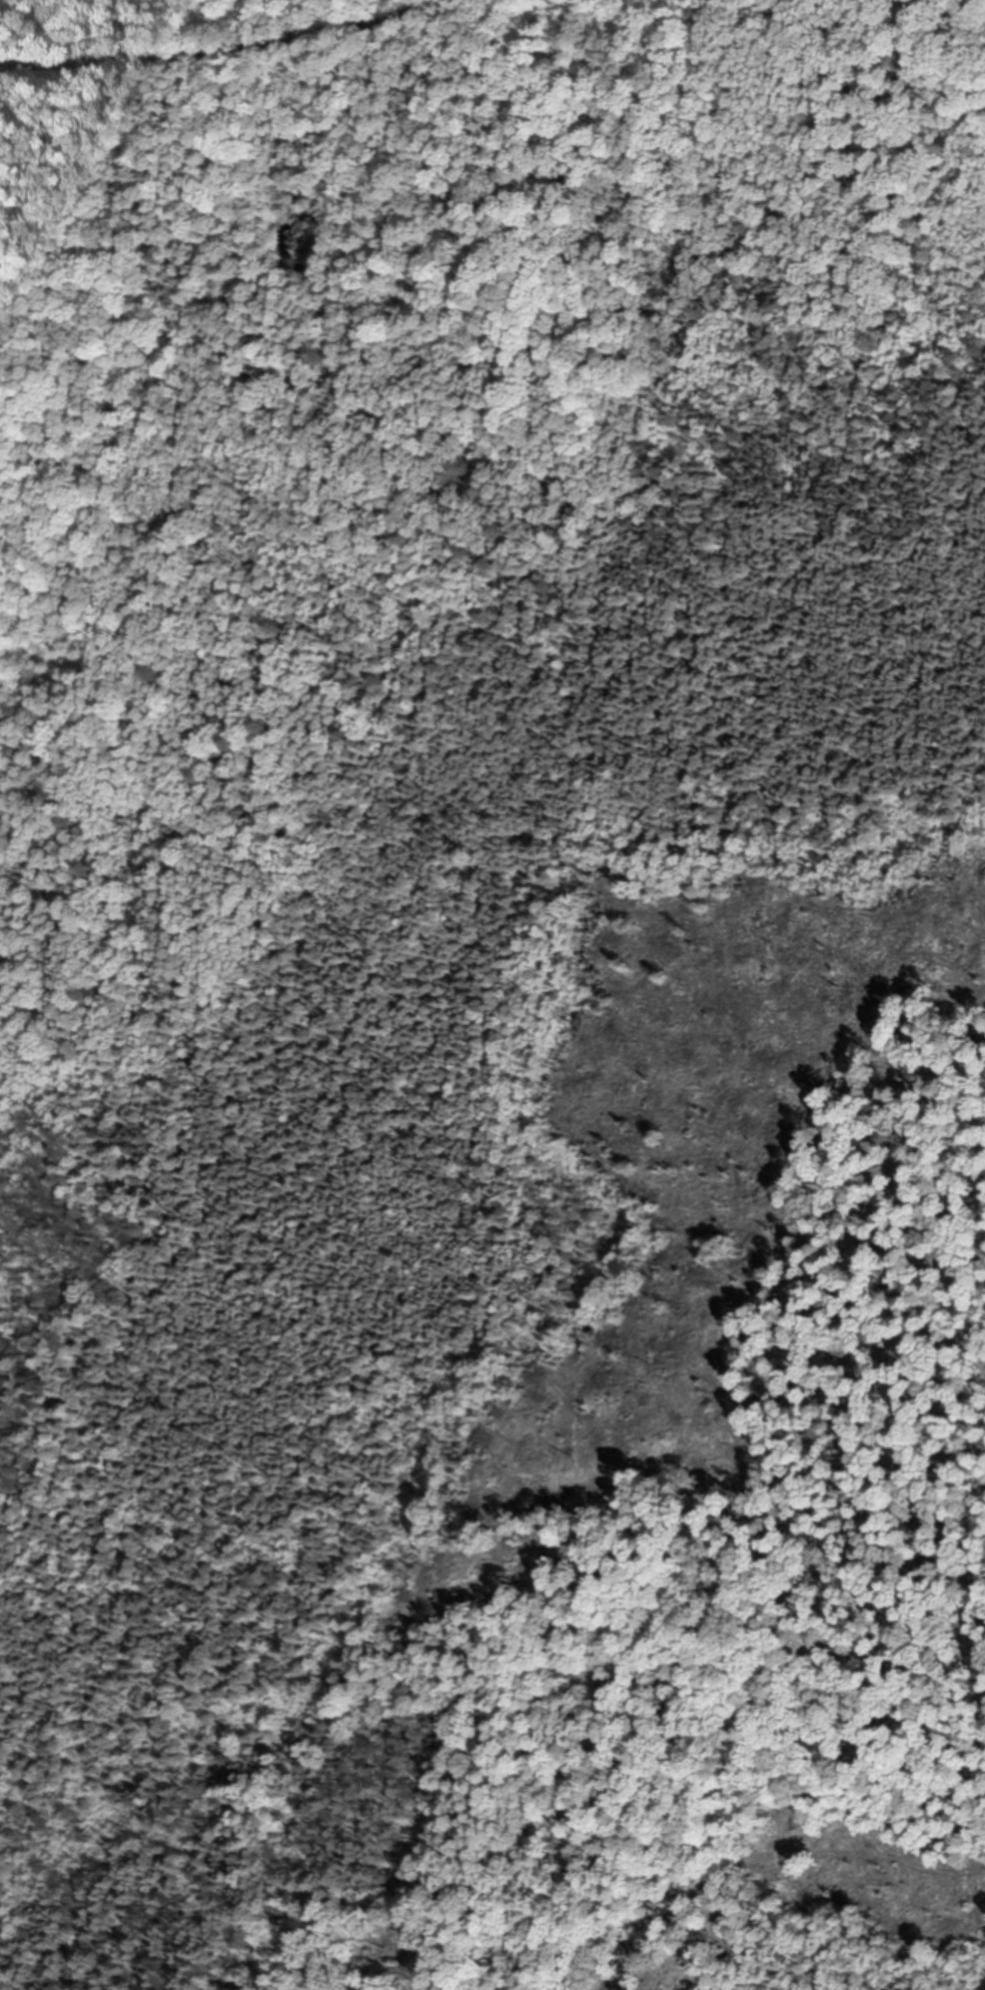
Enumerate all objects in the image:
road: (234, 50)

